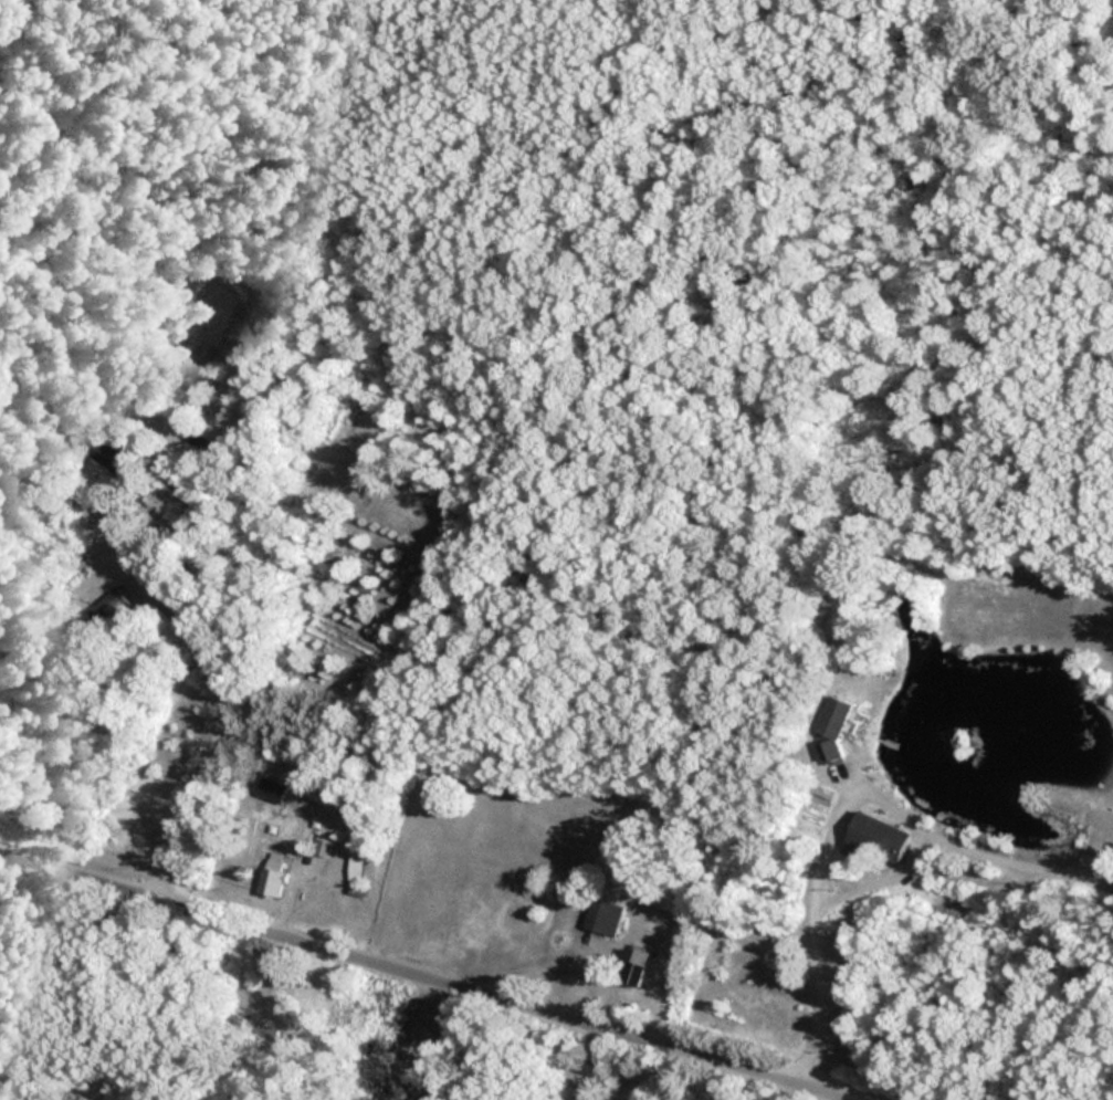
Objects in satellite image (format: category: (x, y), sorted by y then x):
park: (546, 122)
road: (218, 723)
road: (830, 828)
building: (880, 838)
building: (356, 874)
building: (272, 878)
building: (603, 916)
building: (637, 966)
road: (409, 979)
park: (430, 1038)
road: (584, 1065)

